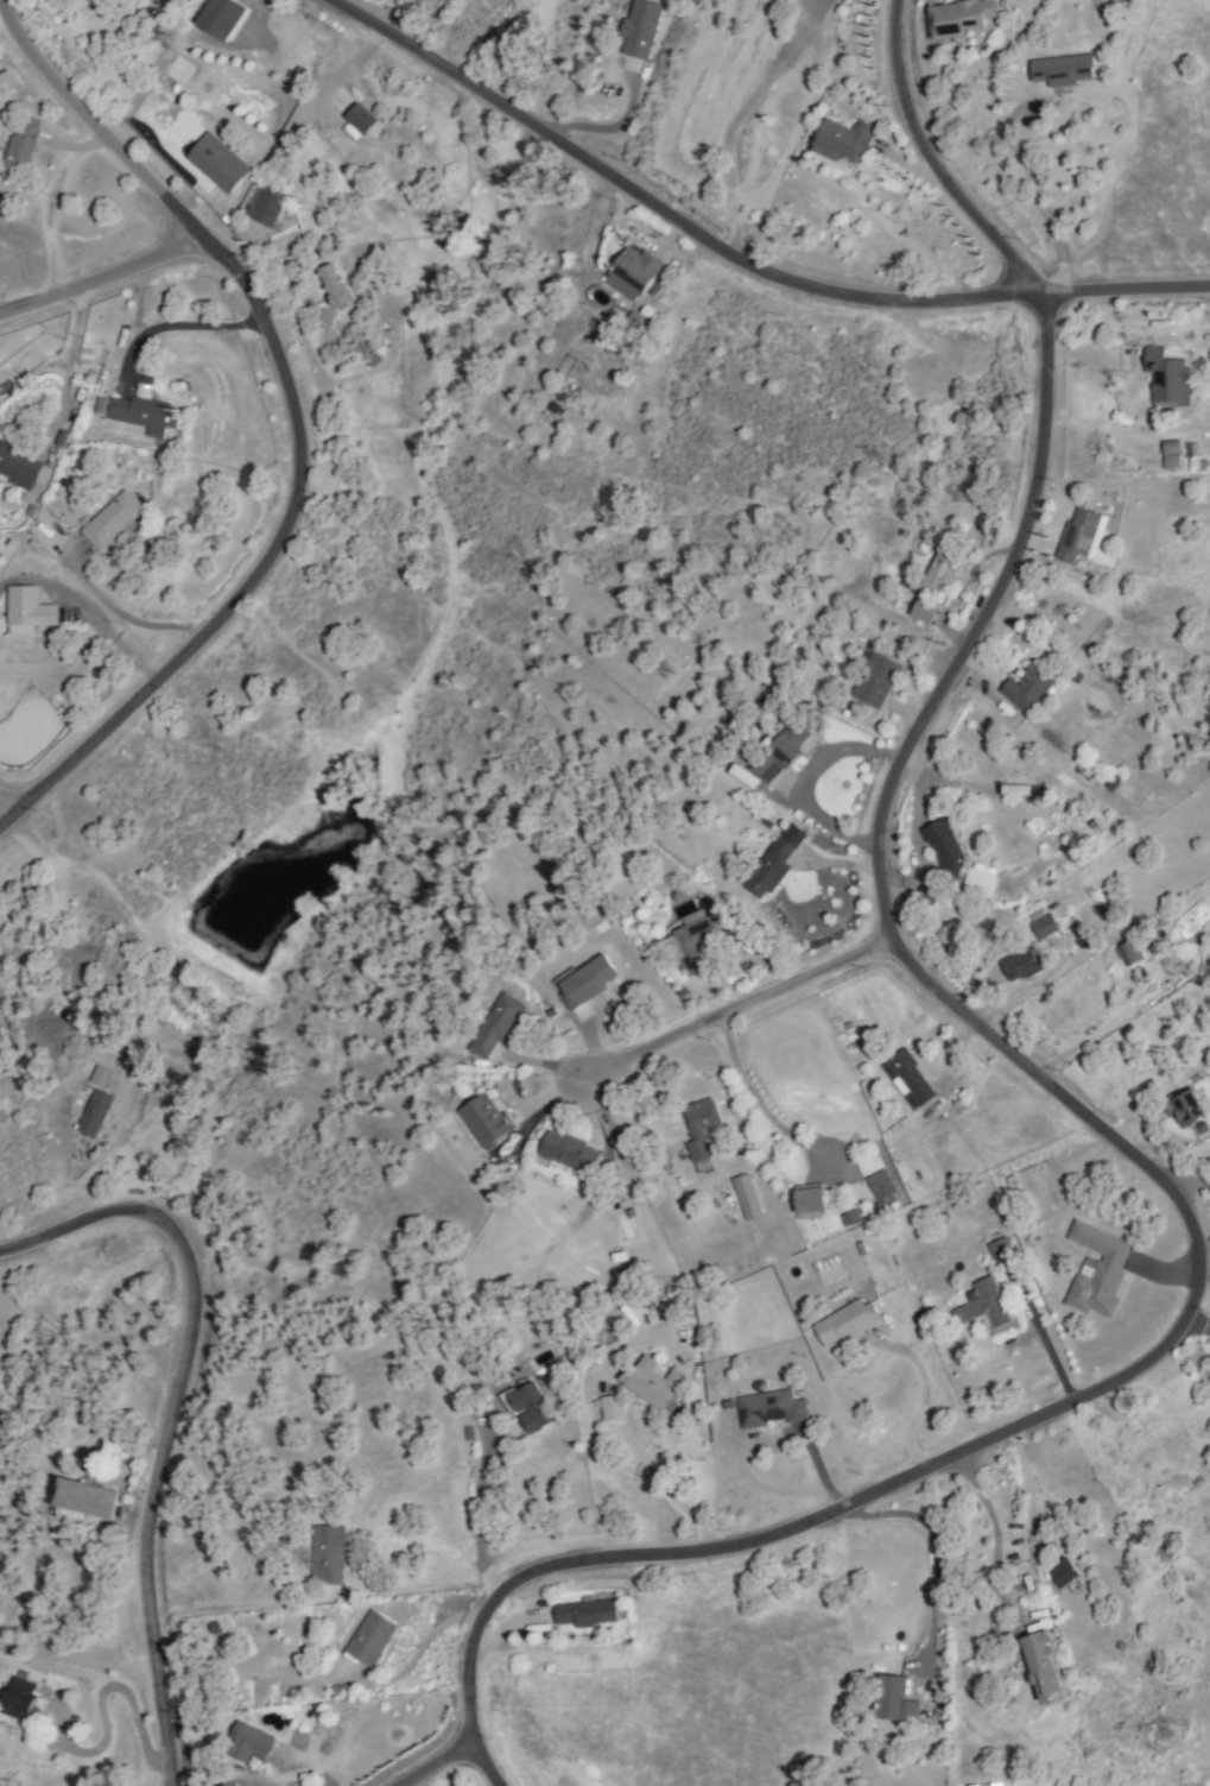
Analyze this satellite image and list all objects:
building: (963, 17)
building: (217, 18)
building: (641, 29)
building: (305, 52)
building: (1064, 71)
road: (740, 112)
building: (363, 120)
road: (606, 128)
building: (844, 141)
building: (21, 151)
building: (220, 163)
road: (933, 163)
road: (1037, 195)
road: (51, 200)
building: (268, 208)
road: (737, 257)
building: (633, 274)
road: (102, 277)
building: (335, 286)
road: (172, 322)
road: (63, 362)
building: (1168, 379)
building: (138, 412)
road: (297, 422)
building: (1191, 452)
building: (1173, 454)
building: (19, 467)
building: (112, 520)
building: (1078, 536)
building: (942, 569)
road: (88, 608)
building: (925, 611)
building: (31, 613)
road: (131, 614)
building: (878, 679)
building: (1031, 688)
building: (781, 752)
building: (741, 776)
road: (809, 781)
road: (7, 807)
building: (946, 848)
building: (777, 862)
building: (980, 882)
building: (931, 892)
building: (1046, 927)
building: (693, 942)
building: (1132, 953)
building: (1021, 965)
building: (588, 982)
road: (743, 1005)
building: (496, 1025)
building: (101, 1078)
building: (912, 1078)
road: (753, 1096)
building: (1187, 1107)
building: (96, 1115)
building: (486, 1121)
building: (702, 1132)
building: (571, 1153)
road: (1183, 1178)
building: (882, 1182)
building: (748, 1197)
building: (815, 1200)
building: (622, 1201)
road: (1180, 1206)
building: (1003, 1250)
building: (1100, 1271)
building: (987, 1306)
building: (847, 1324)
building: (653, 1384)
road: (925, 1397)
building: (531, 1406)
building: (613, 1408)
building: (772, 1409)
road: (175, 1413)
road: (765, 1440)
building: (85, 1500)
road: (992, 1513)
road: (482, 1514)
road: (436, 1545)
road: (937, 1546)
building: (329, 1557)
building: (1063, 1574)
building: (585, 1614)
building: (372, 1640)
road: (417, 1649)
building: (1045, 1670)
building: (21, 1700)
building: (895, 1702)
building: (252, 1743)
road: (439, 1763)
building: (230, 1785)

